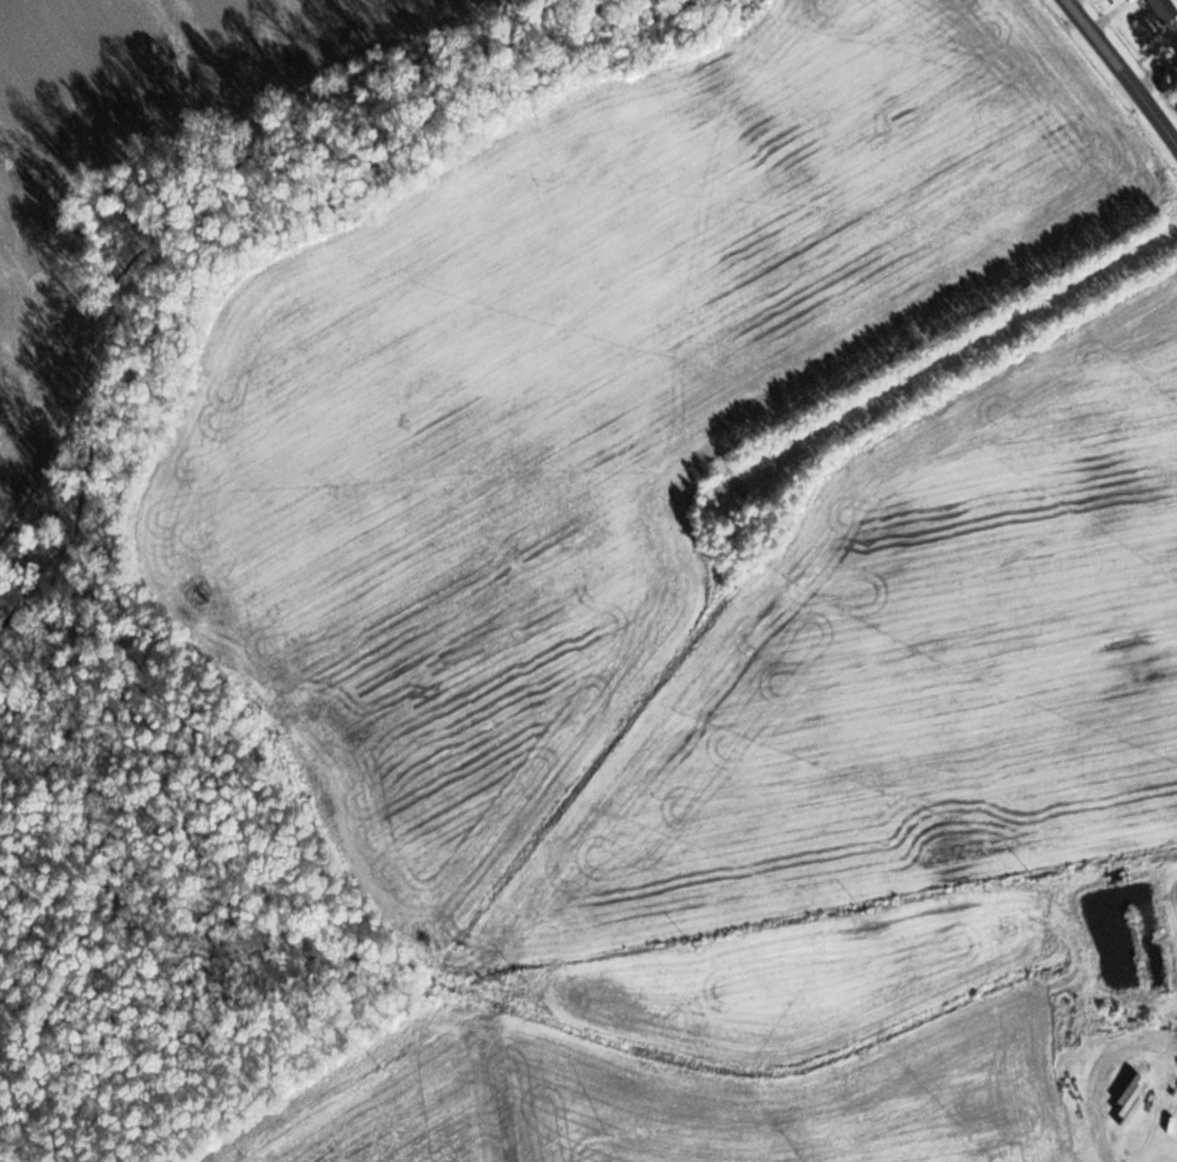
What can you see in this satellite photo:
building: (1163, 10)
road: (1123, 70)
road: (1093, 1068)

